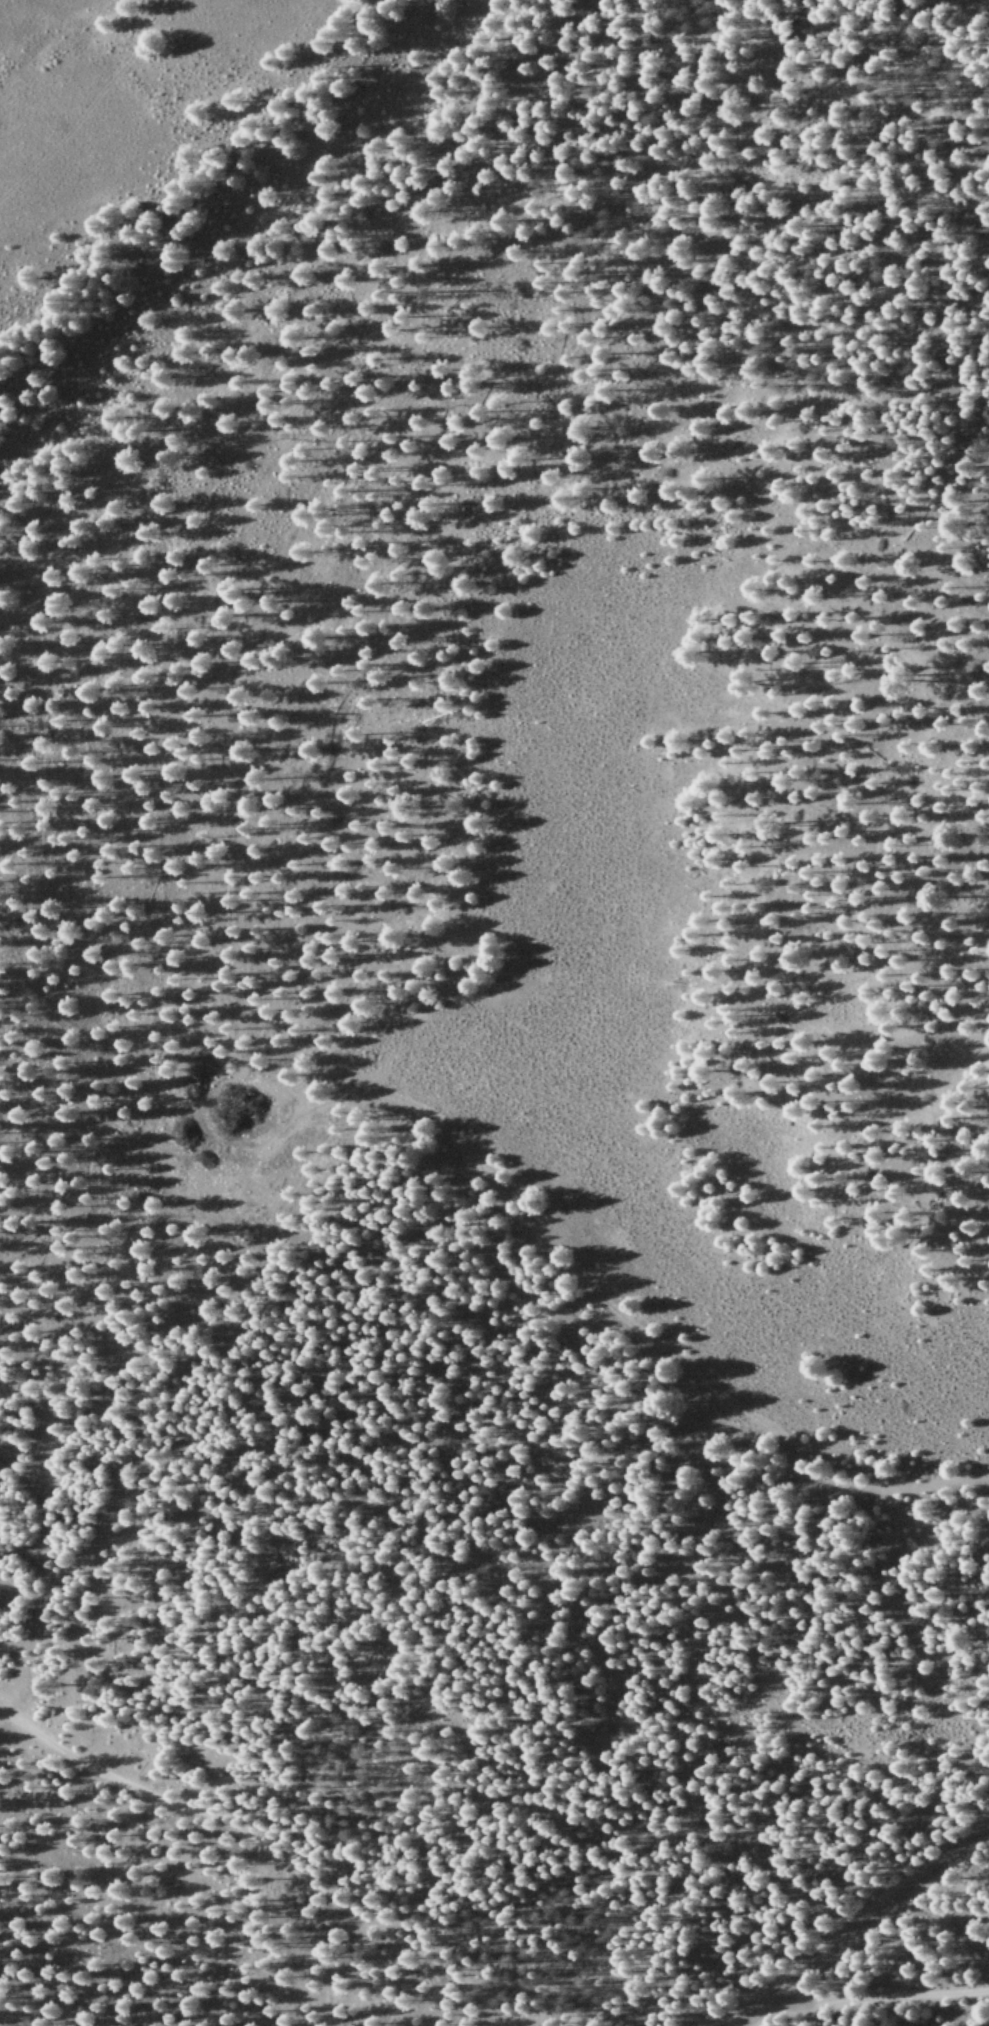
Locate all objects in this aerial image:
road: (828, 1917)

